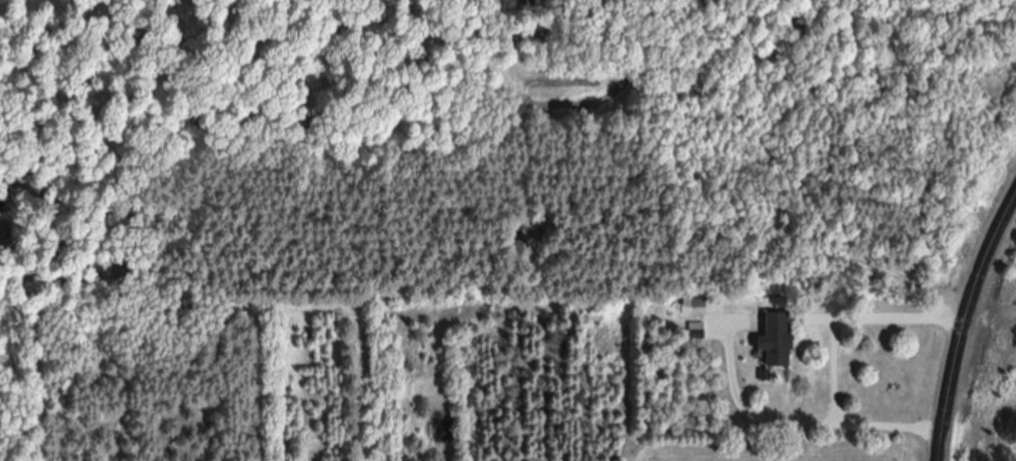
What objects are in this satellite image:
road: (885, 319)
road: (960, 321)
building: (696, 332)
building: (776, 342)
road: (830, 373)
road: (794, 423)

